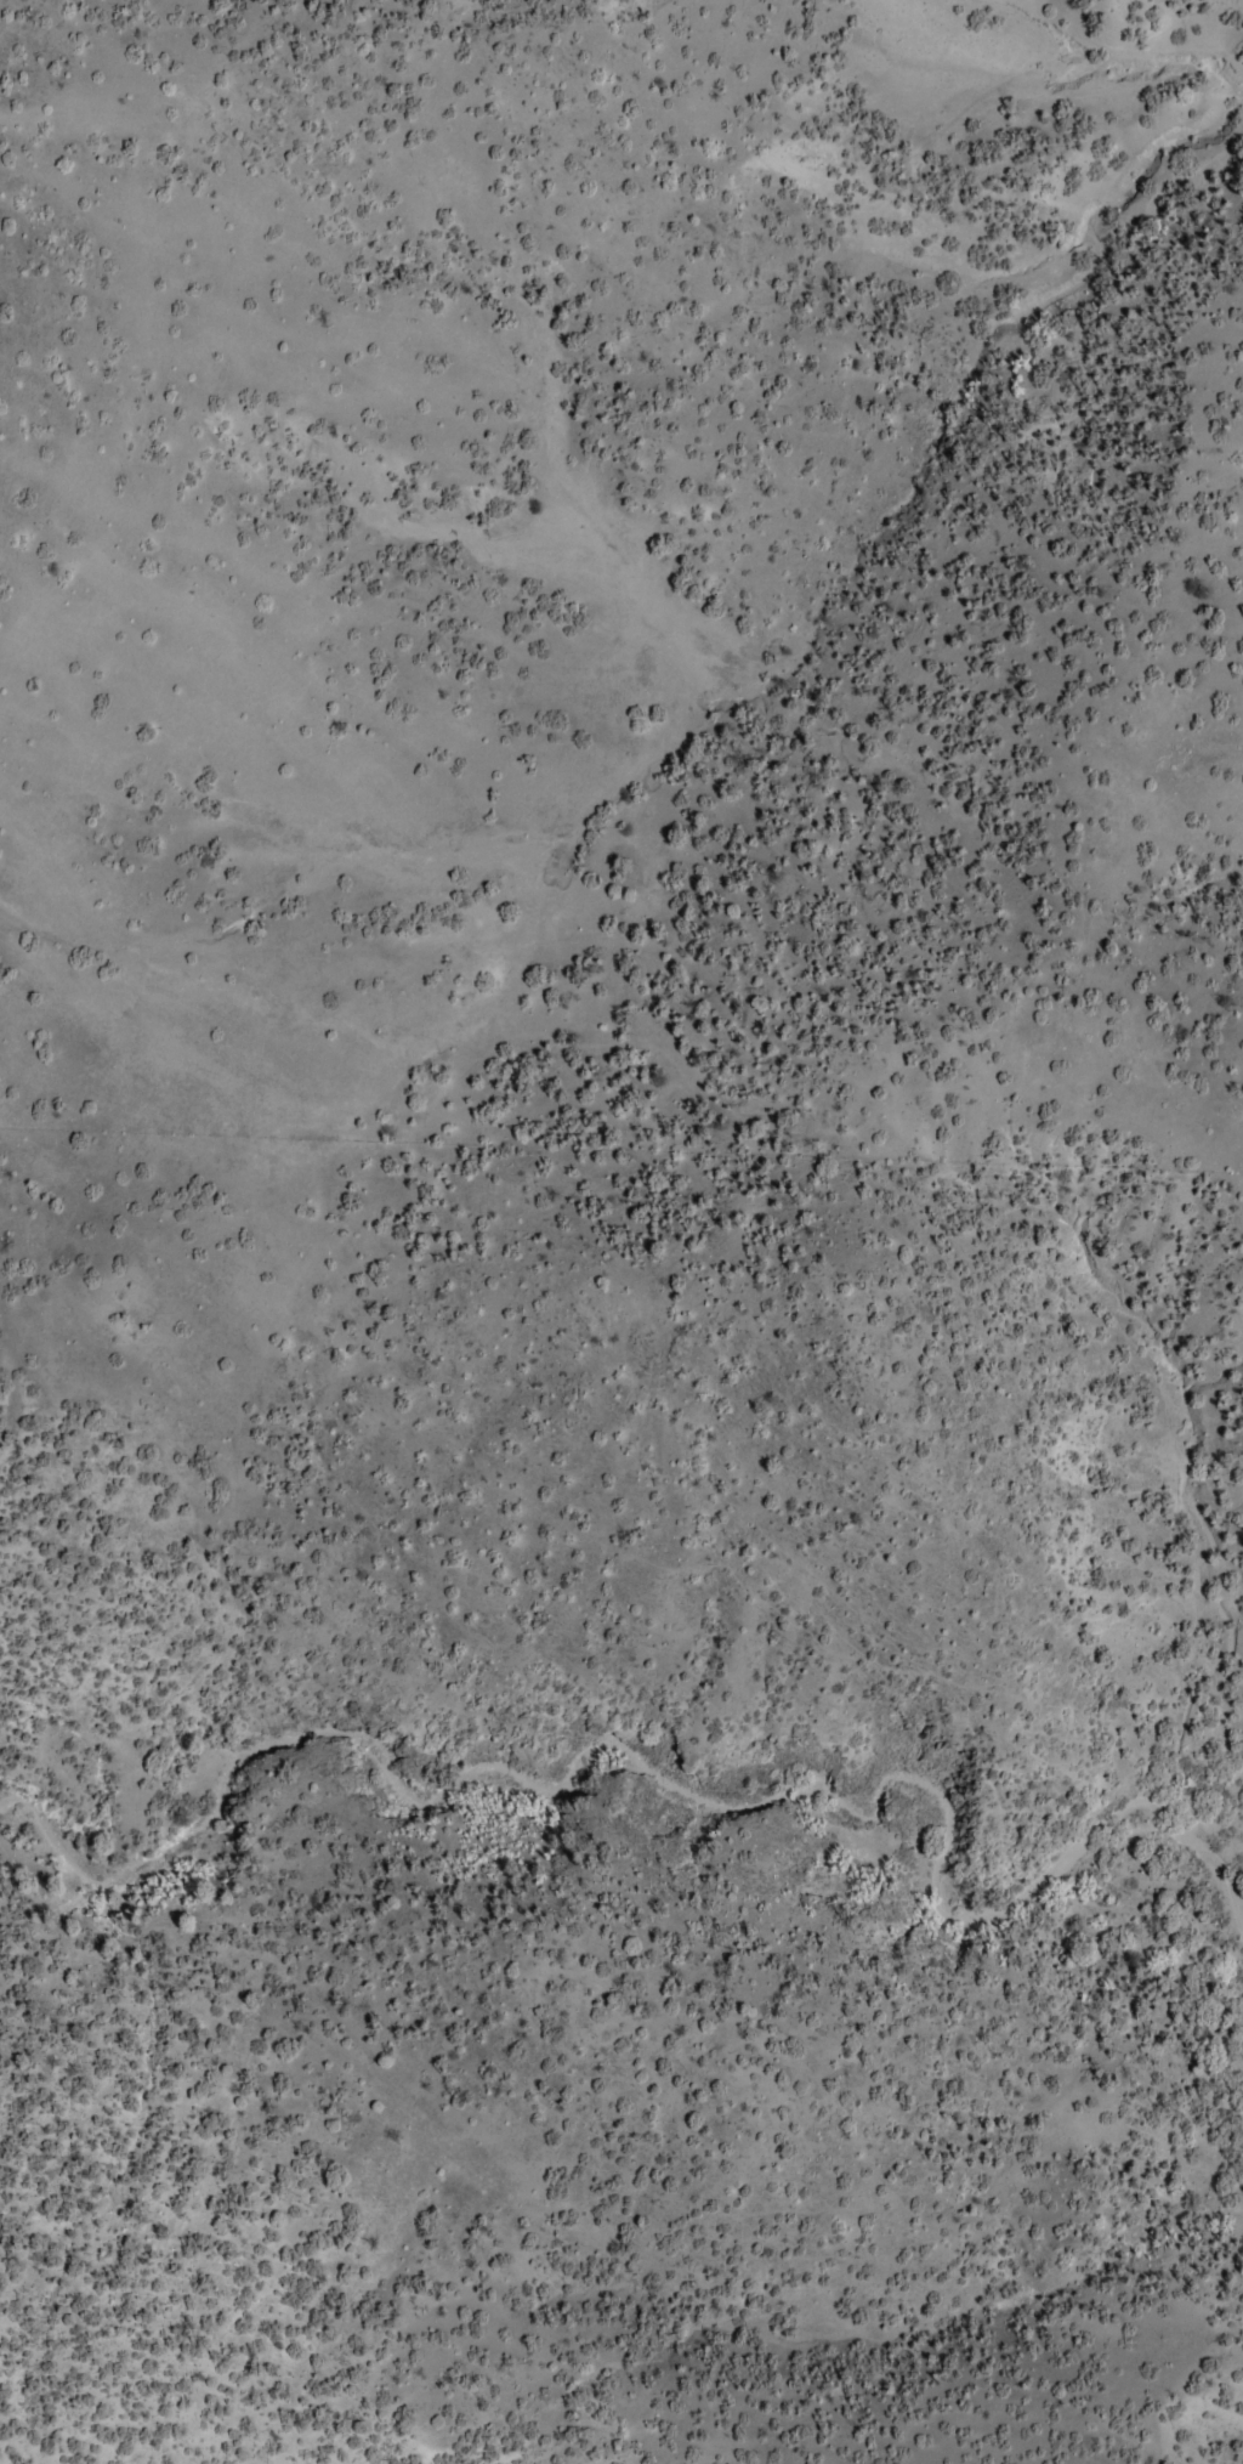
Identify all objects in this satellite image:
road: (1198, 761)

